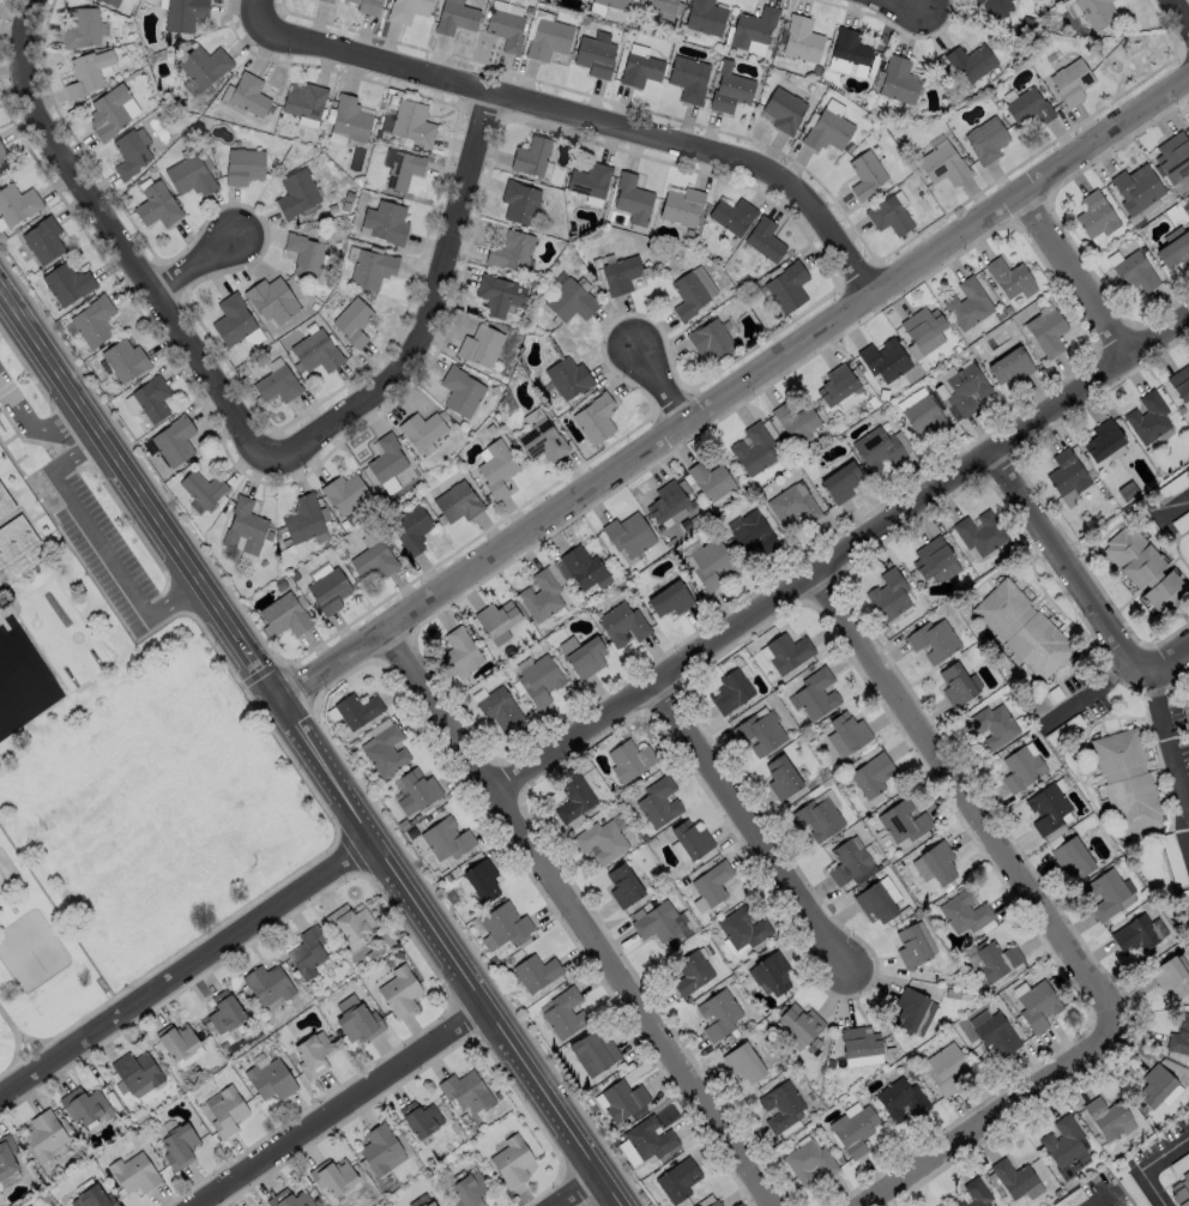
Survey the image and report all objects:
building: (110, 1)
building: (326, 1)
building: (614, 4)
building: (657, 4)
road: (907, 4)
building: (367, 6)
building: (994, 6)
building: (406, 10)
building: (1094, 12)
building: (182, 13)
road: (1178, 13)
building: (453, 16)
building: (704, 16)
building: (752, 25)
building: (80, 26)
building: (503, 28)
building: (547, 37)
building: (801, 37)
building: (847, 46)
building: (592, 55)
building: (968, 62)
building: (201, 65)
building: (639, 68)
building: (86, 72)
building: (687, 77)
building: (897, 78)
building: (1069, 82)
building: (729, 90)
building: (247, 94)
building: (303, 101)
building: (1026, 107)
building: (783, 108)
building: (108, 110)
road: (577, 116)
building: (348, 117)
building: (410, 121)
building: (826, 131)
building: (985, 140)
building: (1, 151)
building: (128, 153)
building: (530, 156)
building: (1172, 156)
building: (941, 164)
building: (242, 165)
building: (1, 168)
building: (402, 169)
building: (188, 175)
building: (864, 175)
building: (589, 179)
building: (1135, 188)
building: (295, 193)
building: (630, 198)
building: (518, 201)
building: (17, 203)
building: (156, 204)
building: (680, 204)
building: (731, 213)
building: (1094, 215)
building: (888, 216)
building: (385, 222)
building: (42, 239)
building: (762, 239)
road: (120, 245)
building: (1173, 248)
building: (509, 251)
building: (303, 253)
road: (199, 269)
building: (370, 269)
building: (1134, 272)
building: (618, 273)
building: (1006, 276)
road: (1078, 278)
building: (66, 283)
building: (785, 285)
building: (687, 294)
building: (497, 295)
building: (271, 300)
building: (569, 300)
building: (966, 303)
road: (424, 310)
building: (231, 319)
building: (92, 320)
building: (351, 321)
building: (921, 324)
building: (1044, 331)
building: (708, 339)
building: (478, 345)
building: (315, 351)
building: (882, 358)
building: (125, 360)
building: (1008, 364)
building: (566, 376)
building: (1179, 382)
building: (834, 384)
building: (276, 385)
building: (964, 387)
road: (662, 388)
building: (459, 391)
road: (734, 391)
building: (151, 398)
building: (922, 414)
building: (594, 417)
building: (1146, 417)
building: (793, 421)
road: (34, 429)
building: (420, 429)
building: (1102, 440)
building: (174, 441)
building: (539, 442)
building: (752, 447)
building: (875, 447)
road: (78, 450)
building: (385, 458)
building: (495, 466)
building: (1064, 472)
building: (708, 478)
building: (838, 481)
building: (201, 488)
building: (343, 493)
building: (664, 500)
building: (457, 501)
building: (7, 503)
building: (791, 503)
road: (1176, 505)
building: (302, 519)
building: (243, 526)
building: (410, 526)
building: (752, 530)
building: (627, 532)
building: (978, 532)
building: (16, 542)
road: (96, 545)
building: (929, 556)
road: (1069, 557)
building: (373, 560)
building: (707, 561)
building: (581, 566)
road: (845, 568)
building: (1141, 568)
building: (327, 589)
building: (887, 593)
building: (541, 595)
road: (177, 596)
building: (668, 597)
building: (283, 614)
building: (496, 617)
building: (621, 622)
building: (1020, 628)
building: (931, 639)
building: (460, 650)
building: (786, 652)
building: (585, 656)
road: (1165, 661)
building: (538, 679)
building: (954, 683)
road: (1094, 691)
building: (730, 692)
building: (815, 694)
building: (499, 707)
building: (356, 708)
building: (990, 724)
building: (849, 731)
building: (758, 732)
road: (310, 747)
building: (385, 749)
road: (1164, 755)
building: (628, 759)
building: (1019, 767)
building: (870, 774)
building: (780, 778)
building: (1125, 780)
building: (416, 790)
building: (572, 795)
road: (956, 797)
building: (657, 801)
building: (1045, 807)
building: (816, 819)
building: (901, 821)
road: (738, 832)
building: (445, 838)
building: (689, 839)
building: (599, 840)
building: (1069, 857)
building: (846, 862)
building: (937, 863)
park: (6, 878)
building: (481, 879)
building: (711, 882)
building: (622, 885)
building: (1105, 893)
building: (874, 903)
building: (962, 912)
road: (579, 919)
building: (656, 922)
building: (348, 923)
building: (503, 923)
building: (741, 927)
building: (1133, 934)
building: (910, 946)
park: (31, 951)
building: (306, 951)
building: (995, 960)
park: (32, 965)
road: (187, 969)
building: (536, 971)
building: (690, 972)
building: (772, 972)
building: (1170, 976)
building: (266, 983)
building: (398, 990)
building: (1036, 1006)
building: (909, 1008)
building: (223, 1011)
building: (565, 1012)
building: (717, 1013)
building: (357, 1021)
building: (801, 1021)
building: (995, 1033)
road: (14, 1035)
building: (1178, 1036)
building: (176, 1041)
building: (858, 1041)
building: (593, 1051)
building: (310, 1054)
building: (742, 1062)
building: (944, 1067)
building: (135, 1071)
building: (268, 1079)
building: (1153, 1084)
building: (465, 1091)
building: (622, 1098)
building: (899, 1098)
building: (85, 1105)
building: (779, 1105)
road: (337, 1106)
building: (224, 1111)
road: (985, 1114)
building: (1105, 1116)
building: (420, 1118)
building: (852, 1129)
building: (43, 1135)
building: (647, 1138)
building: (1062, 1140)
building: (177, 1146)
building: (378, 1148)
building: (6, 1157)
building: (509, 1160)
building: (807, 1160)
road: (1146, 1164)
building: (132, 1172)
building: (1012, 1176)
building: (331, 1177)
building: (676, 1180)
building: (470, 1190)
road: (579, 1190)
building: (1178, 1193)
building: (973, 1194)
building: (95, 1198)
building: (291, 1199)
road: (1102, 1200)
building: (429, 1204)
building: (714, 1204)
building: (420, 1205)

